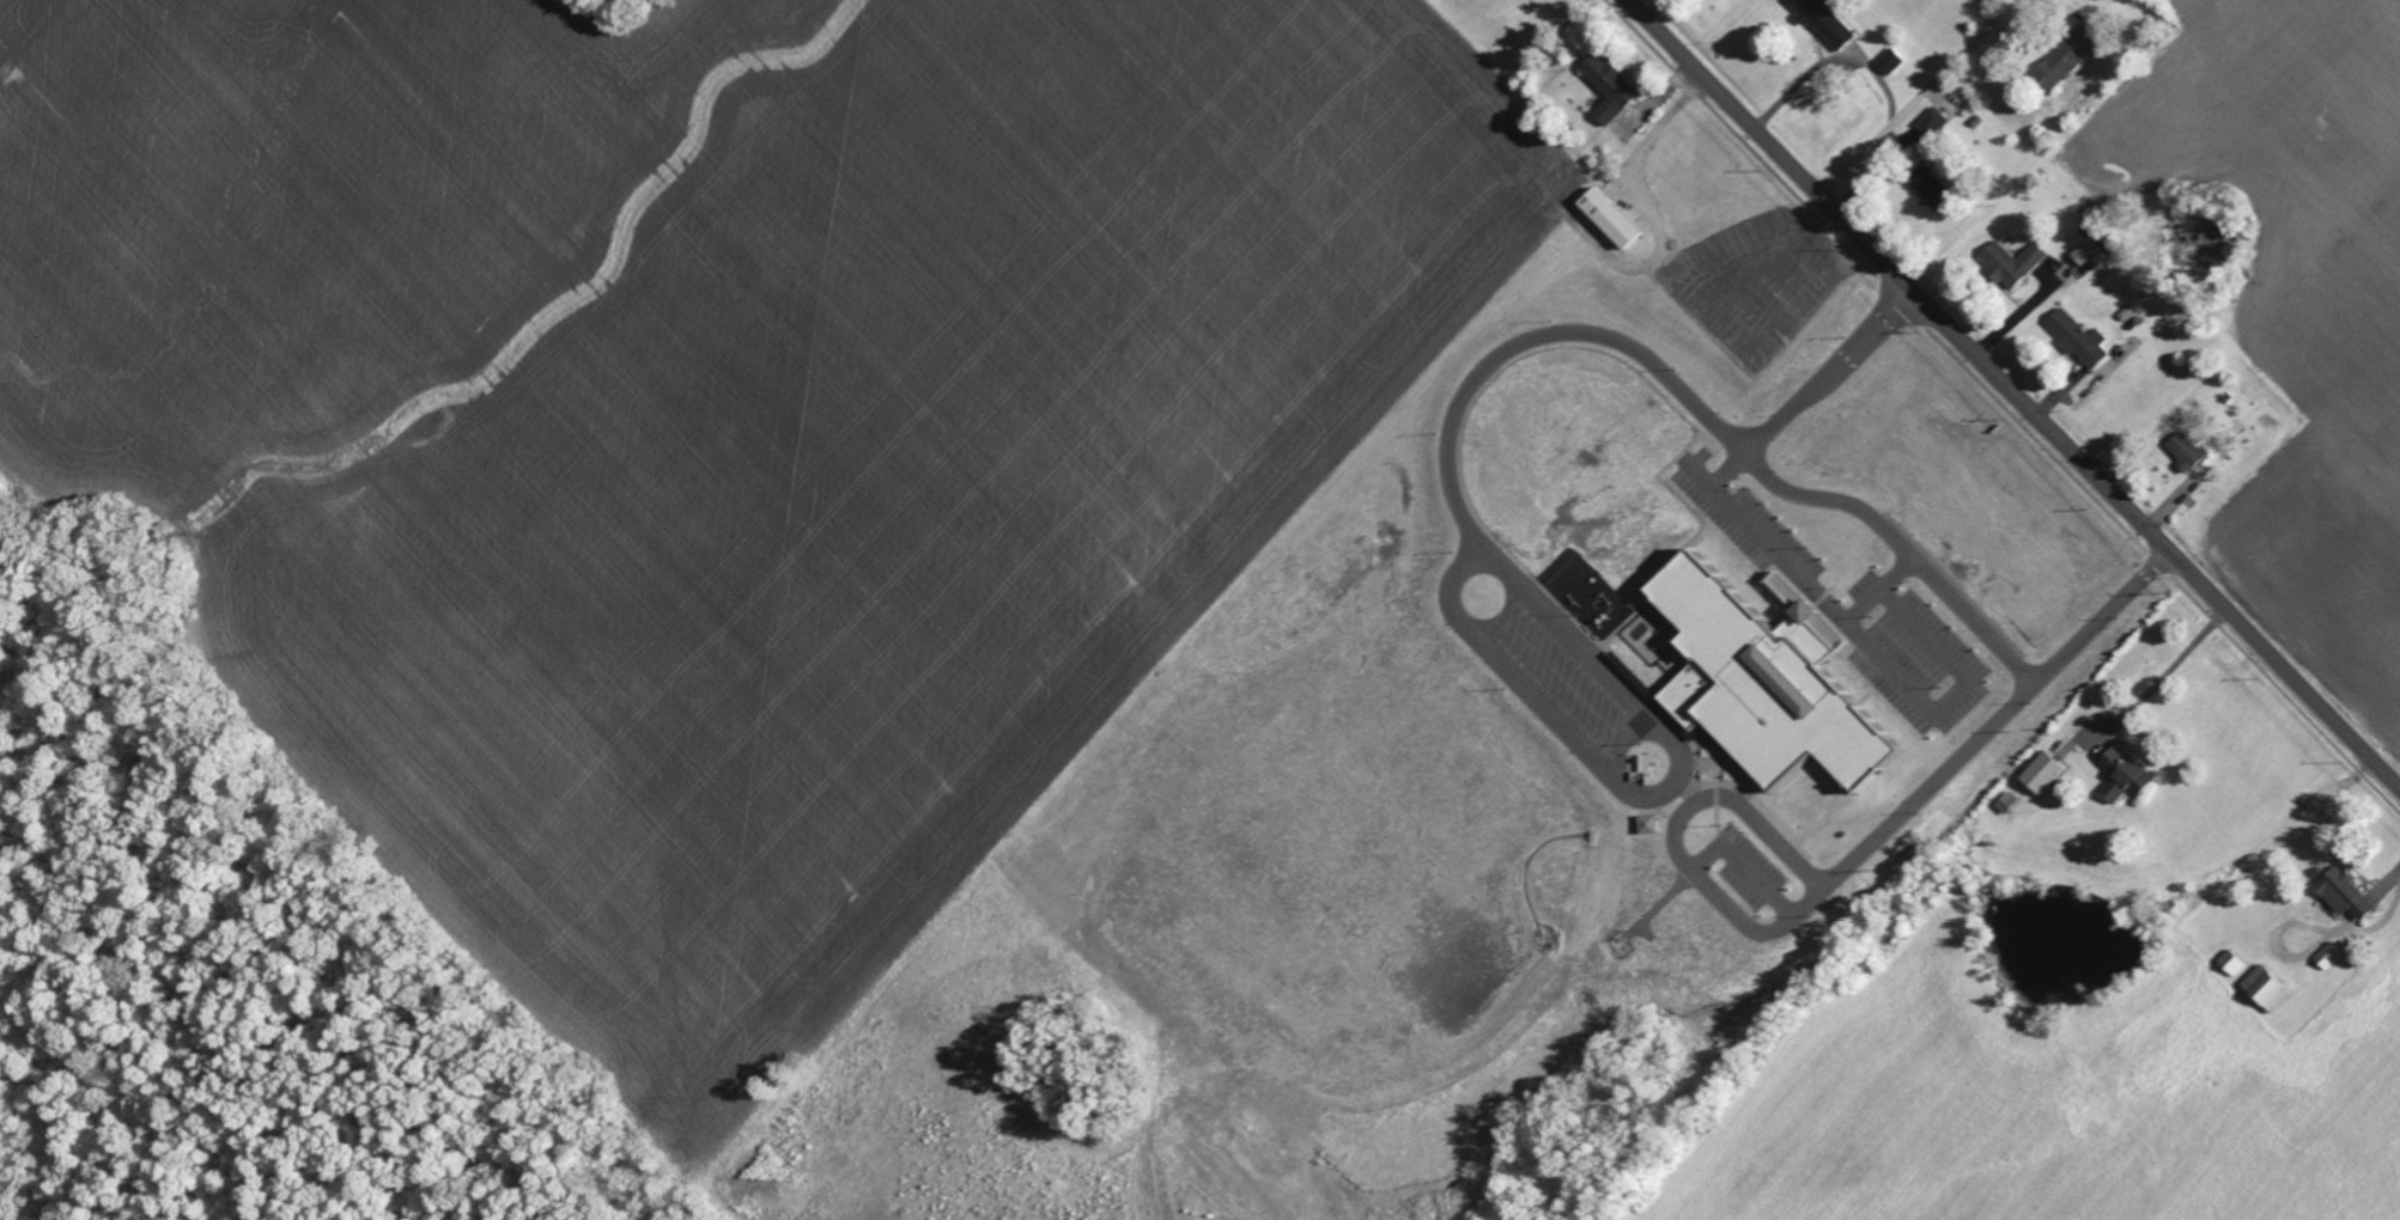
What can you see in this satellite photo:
building: (1823, 20)
road: (1829, 60)
building: (2060, 60)
building: (1888, 61)
building: (1606, 86)
road: (1915, 97)
building: (1932, 121)
building: (1671, 166)
building: (1926, 184)
building: (1606, 219)
building: (2083, 251)
building: (2009, 262)
road: (1603, 336)
building: (2074, 337)
road: (2012, 395)
building: (2182, 449)
road: (1898, 550)
road: (1495, 553)
road: (1876, 592)
building: (1806, 630)
road: (1861, 642)
road: (1586, 645)
road: (2163, 675)
building: (1752, 683)
road: (1543, 702)
building: (2040, 771)
building: (2121, 771)
road: (1677, 781)
building: (1648, 823)
road: (1748, 868)
road: (1846, 870)
building: (2340, 892)

